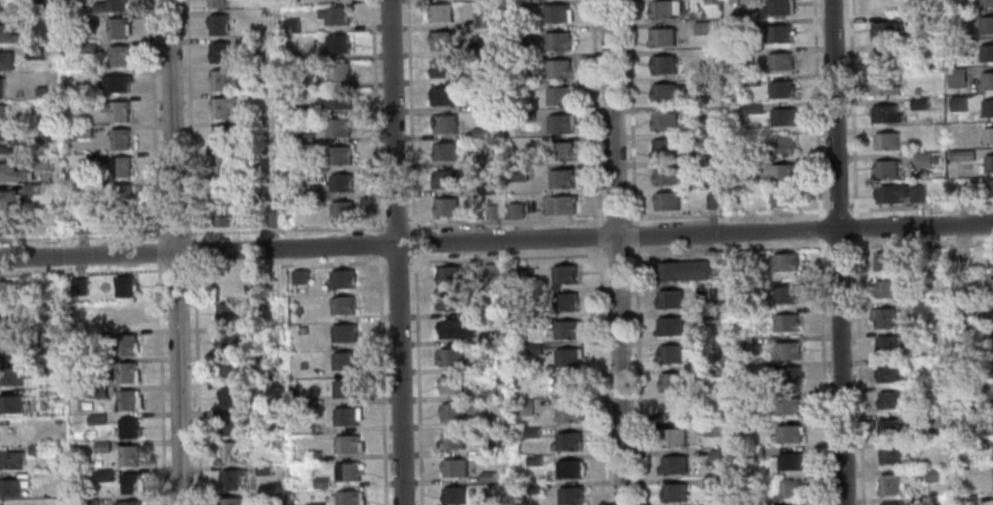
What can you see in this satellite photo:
building: (709, 2)
building: (732, 2)
building: (985, 2)
building: (217, 3)
building: (512, 5)
building: (2, 6)
building: (109, 6)
building: (40, 7)
building: (775, 8)
building: (663, 9)
building: (437, 14)
building: (556, 14)
building: (333, 15)
building: (954, 17)
building: (82, 19)
building: (481, 19)
building: (913, 19)
building: (218, 24)
building: (748, 24)
building: (986, 24)
building: (290, 25)
building: (701, 27)
building: (116, 28)
building: (885, 30)
building: (778, 34)
building: (7, 35)
building: (661, 38)
building: (442, 41)
building: (246, 42)
building: (553, 42)
building: (336, 43)
building: (87, 47)
building: (481, 48)
building: (34, 51)
building: (219, 52)
building: (986, 53)
building: (117, 56)
building: (882, 57)
building: (522, 60)
building: (5, 61)
building: (780, 62)
building: (663, 65)
building: (248, 69)
building: (441, 69)
building: (555, 69)
building: (337, 71)
building: (478, 78)
building: (955, 78)
building: (219, 79)
building: (987, 80)
building: (705, 82)
building: (117, 83)
building: (306, 83)
building: (882, 85)
building: (1, 89)
building: (781, 89)
building: (916, 90)
building: (40, 91)
building: (666, 92)
building: (442, 96)
building: (559, 96)
building: (335, 100)
building: (919, 103)
building: (957, 104)
building: (478, 105)
building: (221, 106)
building: (752, 107)
building: (987, 107)
road: (851, 108)
building: (706, 110)
building: (116, 111)
building: (292, 111)
road: (595, 111)
building: (885, 112)
road: (410, 114)
road: (833, 114)
road: (375, 115)
building: (1, 116)
building: (782, 117)
road: (154, 119)
road: (189, 119)
road: (612, 119)
building: (665, 121)
building: (444, 124)
building: (558, 124)
building: (338, 128)
building: (82, 131)
building: (45, 133)
building: (479, 133)
building: (222, 134)
building: (988, 136)
building: (700, 137)
building: (305, 138)
building: (118, 139)
building: (886, 140)
building: (10, 142)
building: (781, 144)
building: (665, 148)
building: (443, 151)
building: (560, 151)
building: (338, 155)
building: (960, 155)
building: (92, 157)
building: (923, 159)
building: (479, 160)
building: (41, 163)
building: (222, 163)
building: (988, 163)
building: (697, 166)
building: (120, 167)
building: (313, 167)
building: (885, 169)
building: (11, 173)
building: (519, 173)
building: (782, 174)
building: (665, 175)
building: (561, 179)
building: (444, 180)
building: (341, 183)
building: (989, 187)
building: (486, 188)
building: (29, 189)
building: (223, 190)
building: (311, 191)
building: (917, 192)
building: (958, 192)
building: (890, 193)
building: (119, 195)
building: (782, 199)
building: (9, 200)
building: (712, 201)
building: (666, 202)
building: (562, 205)
building: (445, 208)
road: (799, 210)
building: (341, 211)
building: (514, 211)
building: (490, 212)
building: (224, 215)
building: (271, 218)
road: (506, 220)
building: (118, 222)
road: (854, 222)
building: (80, 223)
building: (7, 225)
road: (396, 225)
road: (284, 227)
road: (174, 234)
road: (82, 236)
road: (496, 240)
road: (414, 242)
road: (379, 243)
road: (192, 250)
road: (701, 250)
road: (158, 251)
road: (175, 252)
road: (395, 252)
road: (633, 252)
road: (819, 252)
building: (990, 259)
road: (396, 261)
building: (890, 261)
building: (784, 262)
road: (286, 265)
road: (176, 269)
building: (683, 271)
road: (82, 272)
building: (491, 272)
building: (564, 274)
building: (447, 275)
building: (298, 276)
building: (525, 276)
building: (341, 279)
building: (78, 286)
building: (122, 287)
building: (991, 287)
building: (886, 289)
building: (4, 292)
building: (786, 293)
building: (668, 299)
building: (565, 301)
building: (448, 302)
building: (342, 306)
building: (922, 308)
building: (965, 308)
building: (49, 311)
building: (91, 311)
building: (226, 315)
building: (987, 316)
building: (124, 317)
building: (713, 318)
building: (884, 318)
building: (533, 320)
building: (9, 321)
building: (786, 321)
building: (669, 327)
building: (452, 330)
building: (563, 331)
building: (343, 334)
building: (94, 338)
building: (488, 339)
building: (991, 342)
building: (227, 343)
building: (702, 343)
building: (743, 343)
building: (126, 345)
building: (887, 345)
building: (10, 348)
building: (534, 349)
building: (786, 349)
building: (673, 353)
building: (273, 357)
building: (447, 357)
building: (566, 358)
building: (344, 361)
road: (603, 363)
building: (92, 365)
building: (478, 366)
road: (840, 366)
road: (858, 366)
building: (758, 367)
building: (52, 368)
building: (231, 370)
building: (713, 370)
road: (620, 371)
building: (126, 373)
building: (890, 374)
building: (12, 375)
building: (788, 375)
road: (383, 379)
road: (418, 380)
building: (671, 381)
road: (161, 383)
road: (197, 383)
building: (450, 384)
building: (566, 385)
building: (345, 389)
building: (97, 392)
building: (931, 392)
building: (493, 393)
building: (228, 398)
building: (128, 400)
building: (889, 400)
building: (10, 404)
building: (787, 406)
building: (524, 407)
building: (452, 412)
building: (567, 412)
building: (346, 416)
building: (95, 419)
building: (934, 420)
building: (487, 421)
building: (228, 425)
building: (127, 428)
building: (712, 428)
building: (887, 430)
building: (531, 432)
building: (788, 433)
building: (672, 437)
building: (452, 440)
building: (274, 441)
building: (568, 441)
building: (348, 444)
building: (101, 447)
building: (496, 448)
building: (36, 450)
building: (756, 451)
building: (230, 452)
building: (716, 454)
building: (128, 455)
building: (313, 455)
building: (890, 455)
building: (533, 459)
building: (10, 460)
building: (786, 461)
building: (673, 466)
building: (454, 469)
building: (569, 469)
building: (263, 470)
building: (347, 472)
building: (103, 475)
building: (933, 475)
building: (487, 477)
building: (231, 479)
building: (321, 482)
building: (710, 482)
building: (131, 483)
building: (889, 485)
building: (10, 488)
building: (535, 488)
building: (789, 489)
building: (674, 492)
building: (453, 496)
building: (571, 496)
building: (349, 498)
building: (918, 500)
building: (967, 500)
building: (231, 501)
building: (89, 502)
building: (485, 502)
building: (127, 503)
building: (759, 503)
building: (890, 503)
building: (316, 504)
building: (708, 504)

